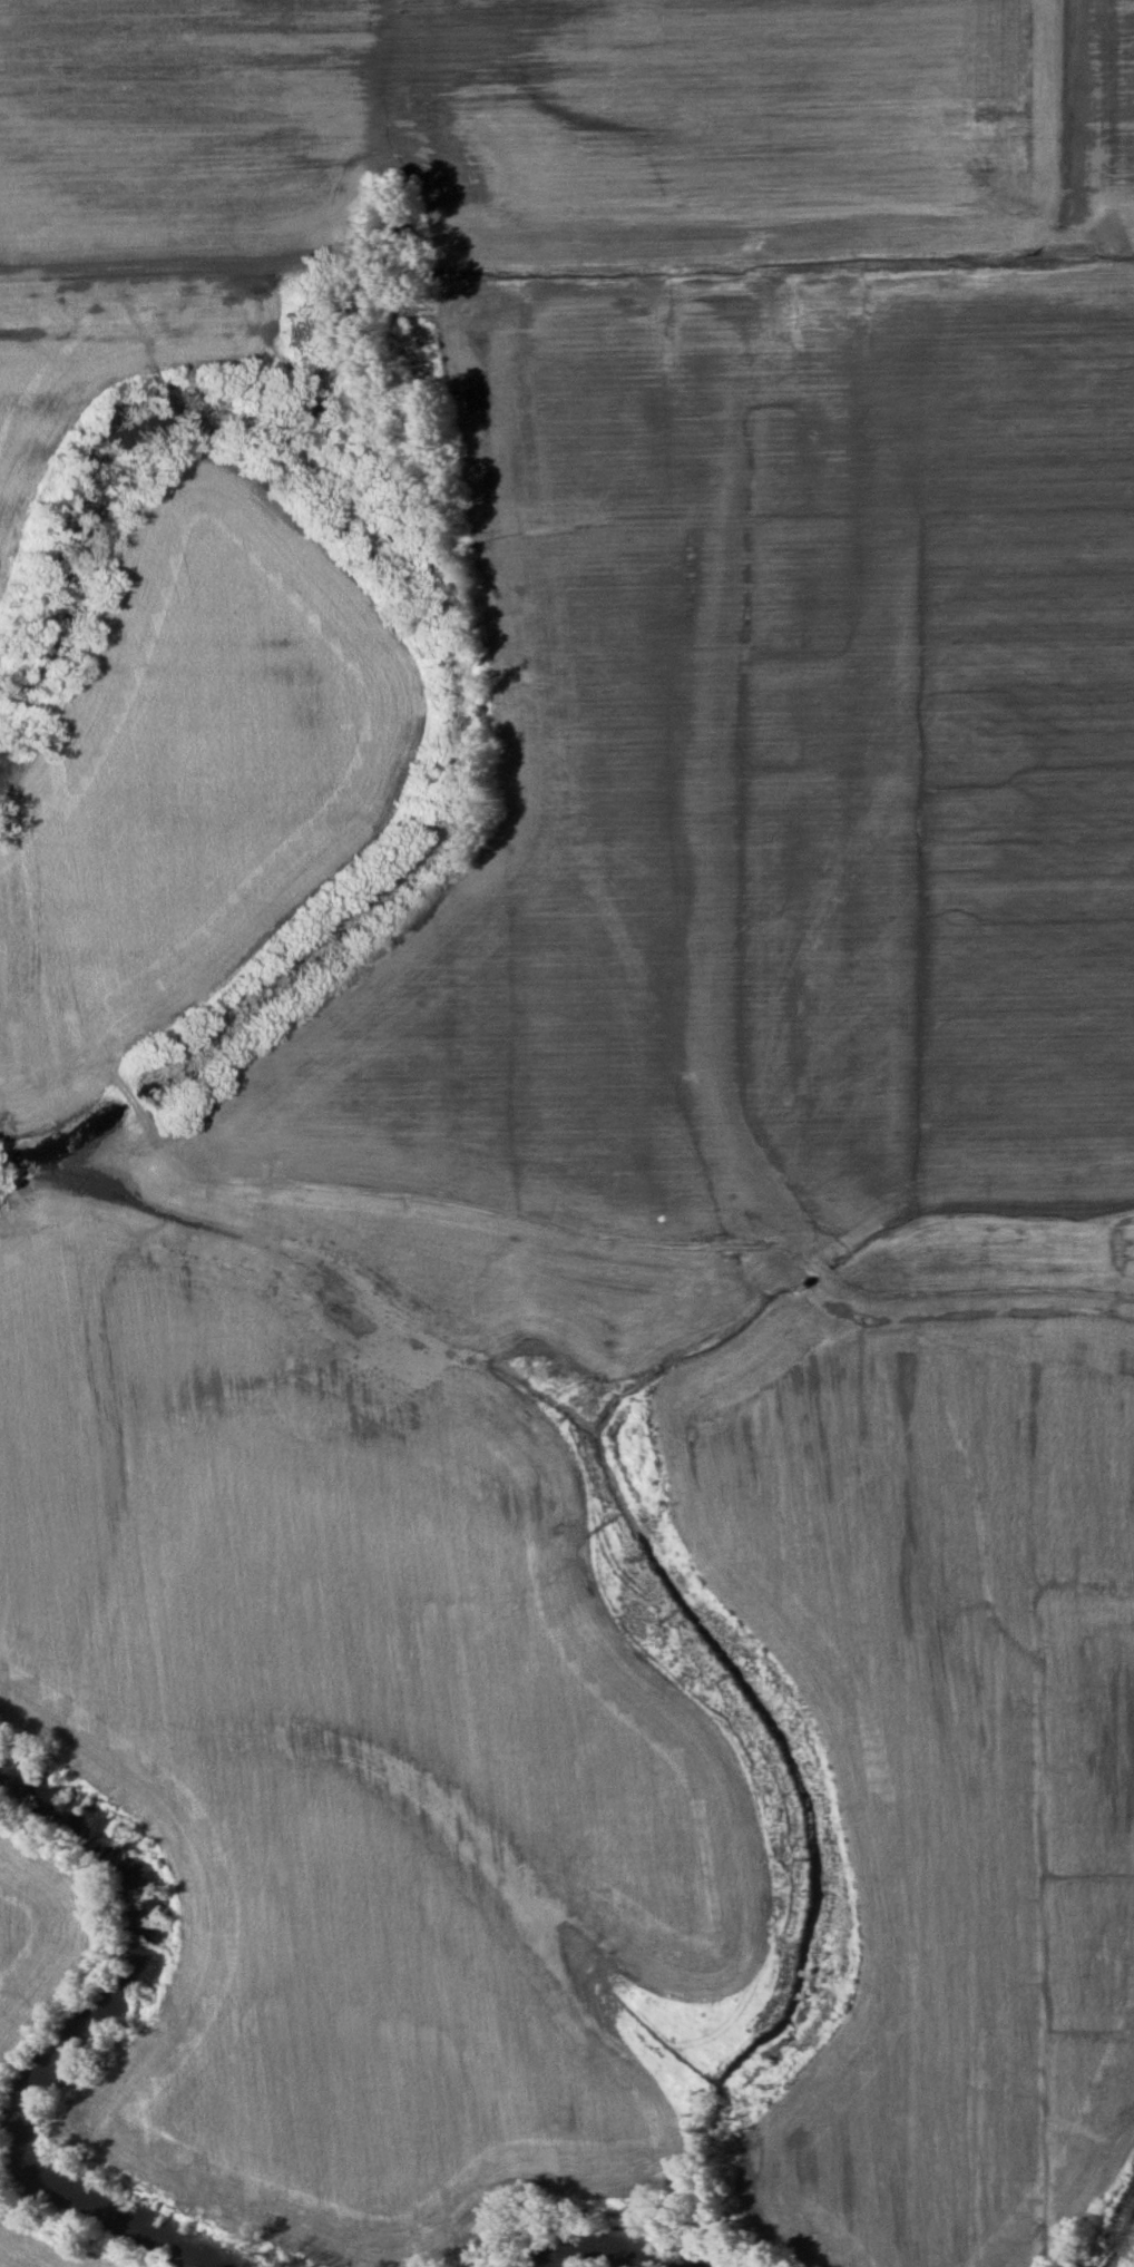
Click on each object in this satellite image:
crop: (201, 783)
crop: (38, 1941)
crop: (39, 2247)

